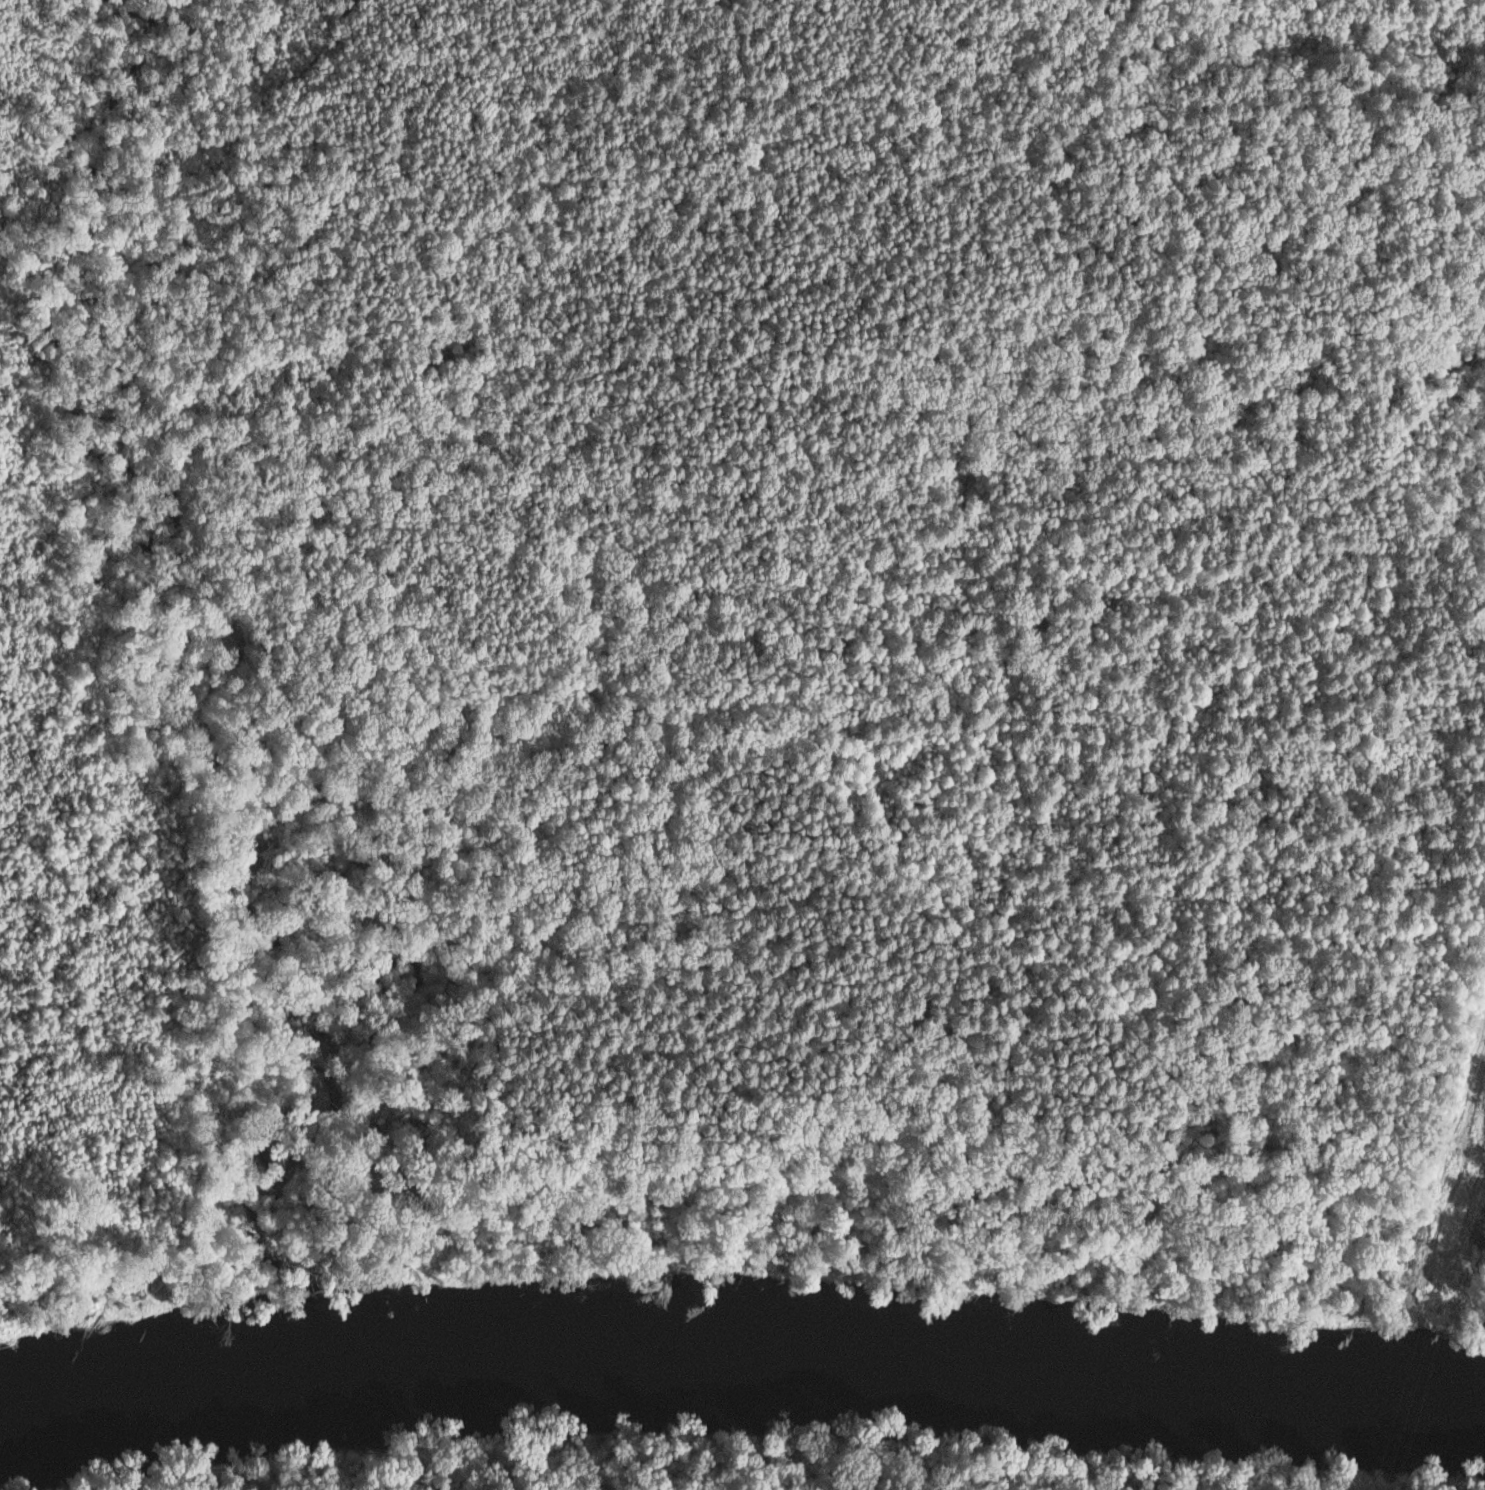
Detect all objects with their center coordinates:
power tower: (1452, 1219)
river: (740, 1350)

